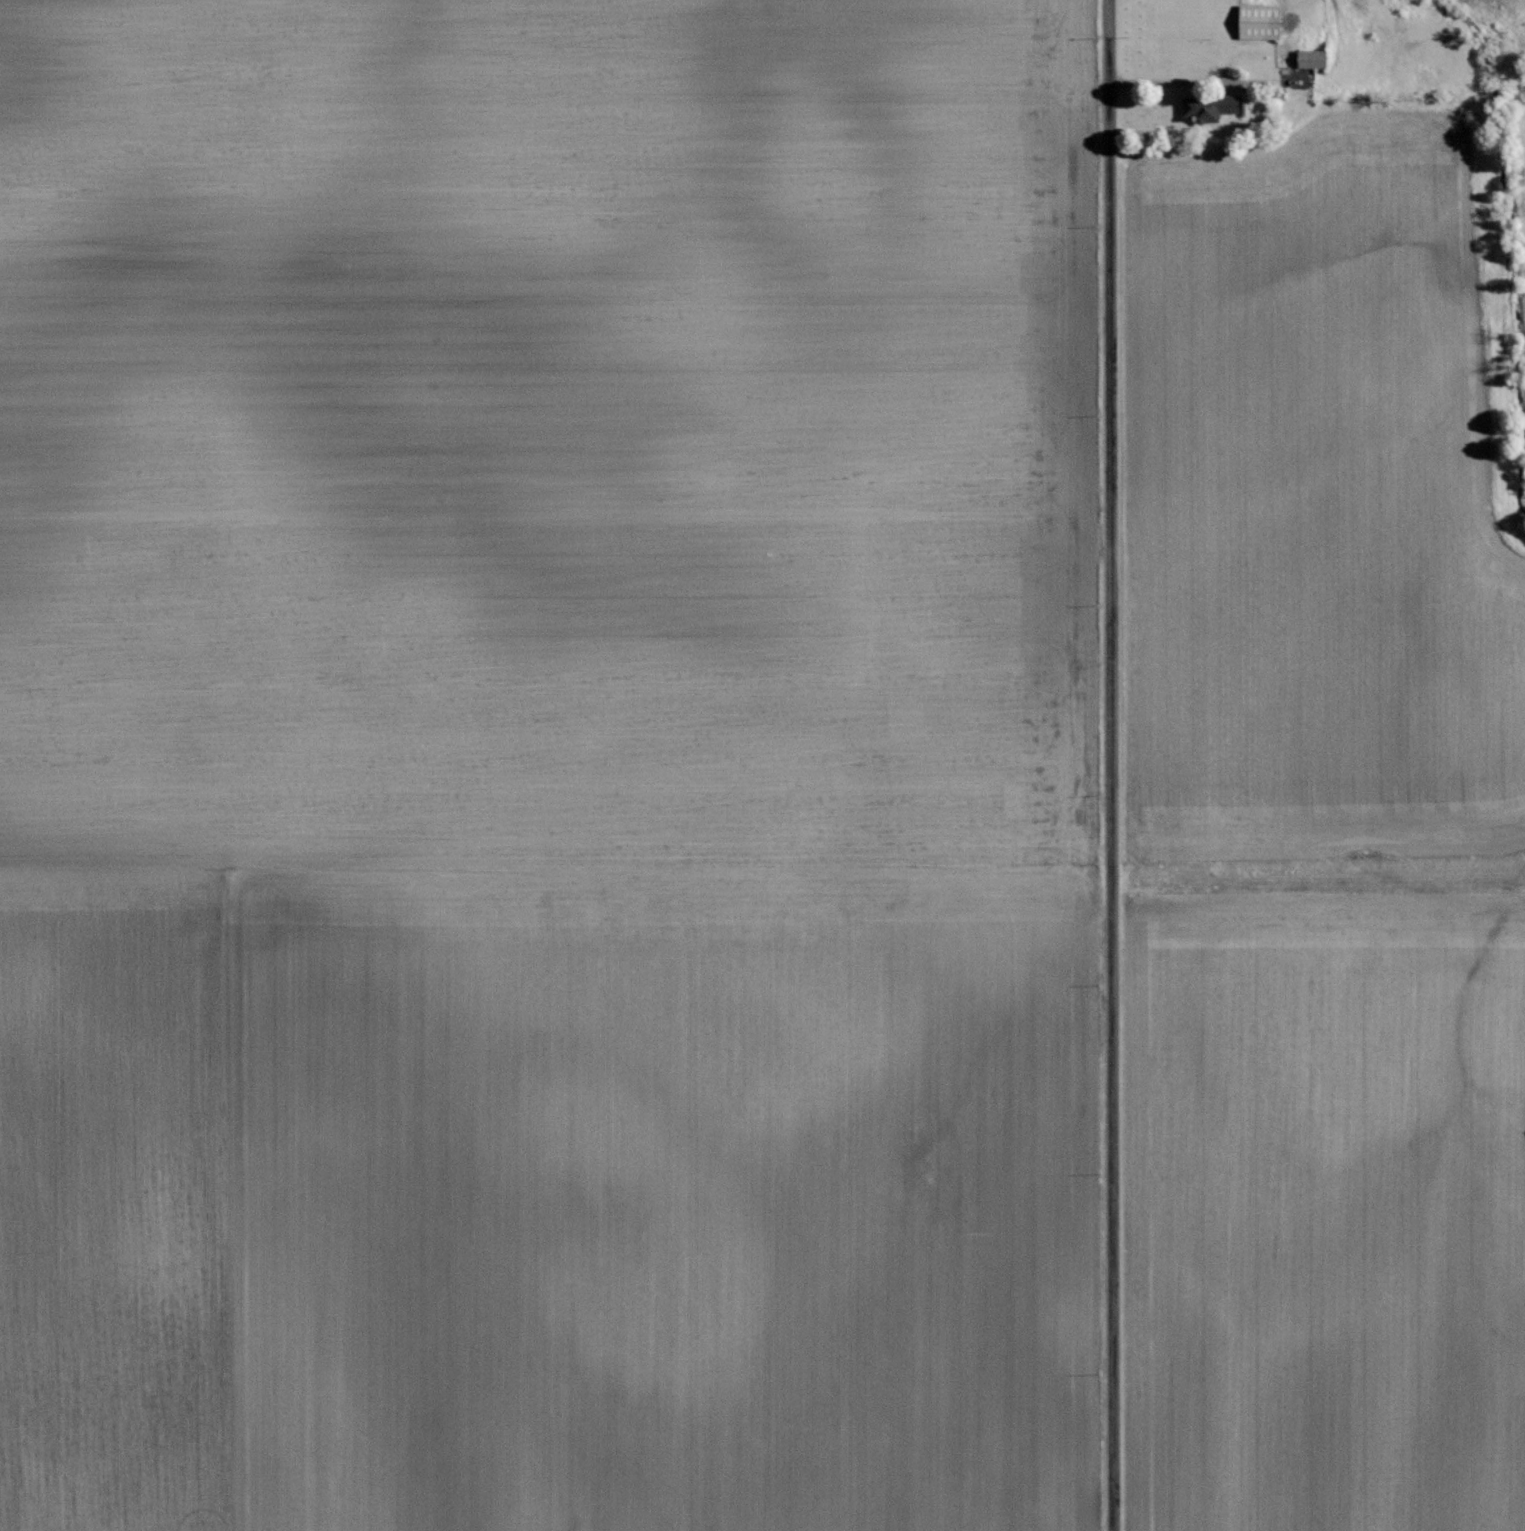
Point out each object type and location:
building: (1264, 22)
road: (1109, 765)

